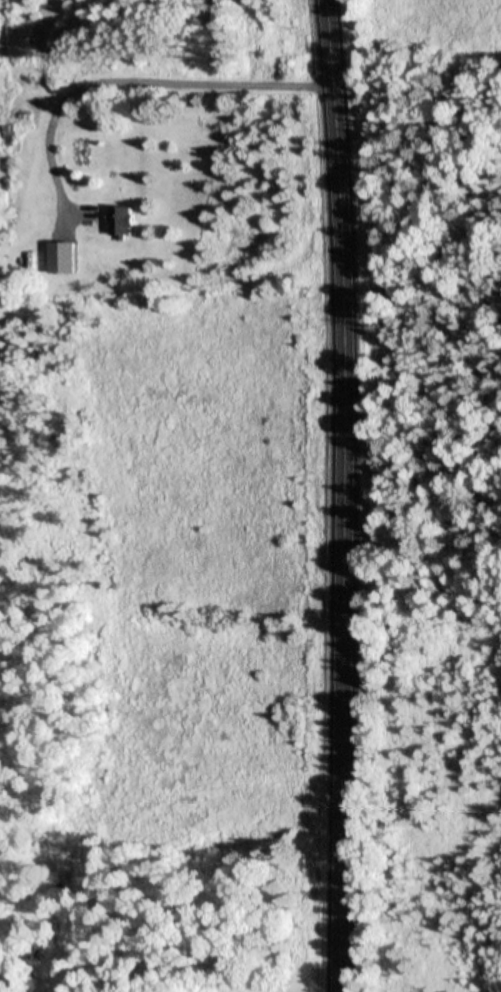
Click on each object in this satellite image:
road: (131, 76)
building: (4, 135)
building: (124, 220)
road: (352, 495)
road: (426, 560)

